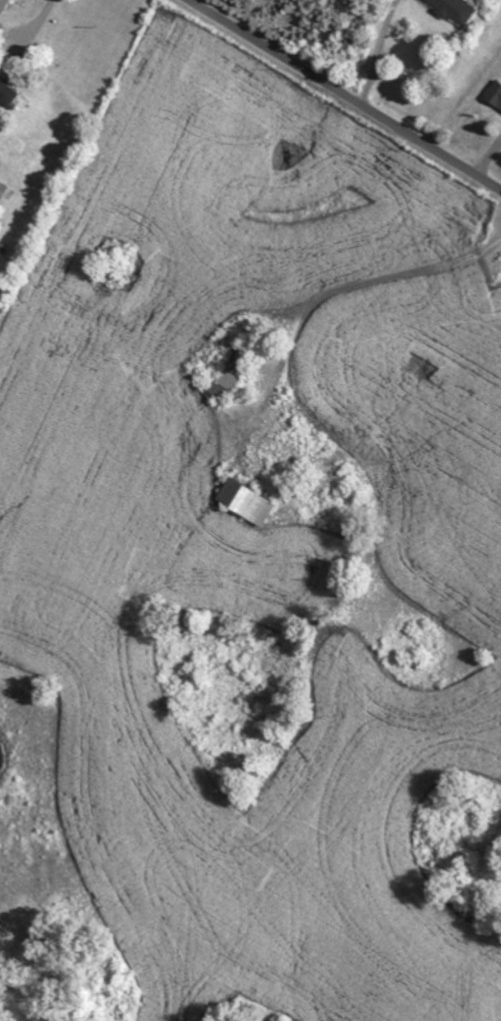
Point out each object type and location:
building: (5, 5)
building: (457, 10)
road: (41, 23)
road: (375, 51)
building: (9, 93)
road: (344, 95)
building: (496, 95)
building: (4, 190)
road: (337, 288)
building: (229, 381)
building: (250, 501)

